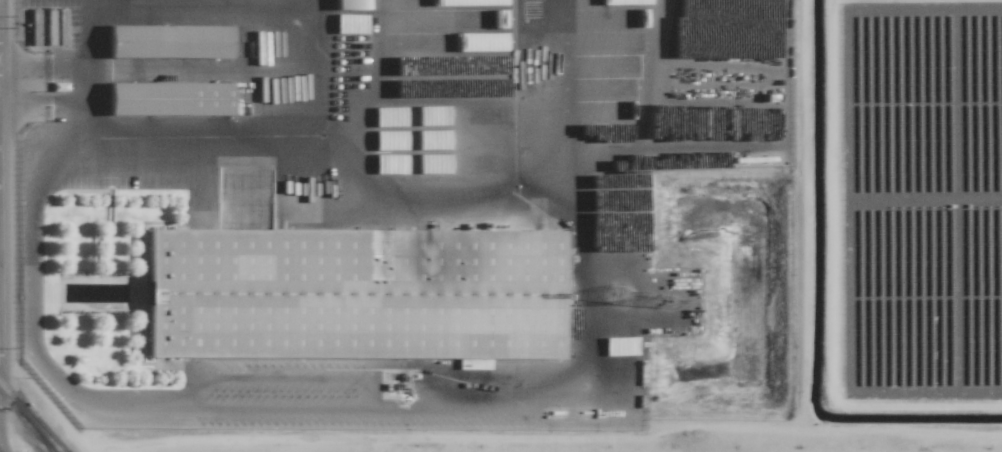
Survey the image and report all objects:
building: (459, 2)
building: (351, 5)
building: (473, 19)
building: (350, 24)
road: (87, 36)
building: (169, 41)
building: (486, 42)
road: (55, 66)
building: (169, 99)
road: (43, 106)
road: (94, 126)
building: (434, 164)
building: (355, 294)
power tower: (613, 296)
power tower: (664, 301)
road: (2, 302)
building: (393, 363)
road: (498, 407)
railway: (29, 418)

